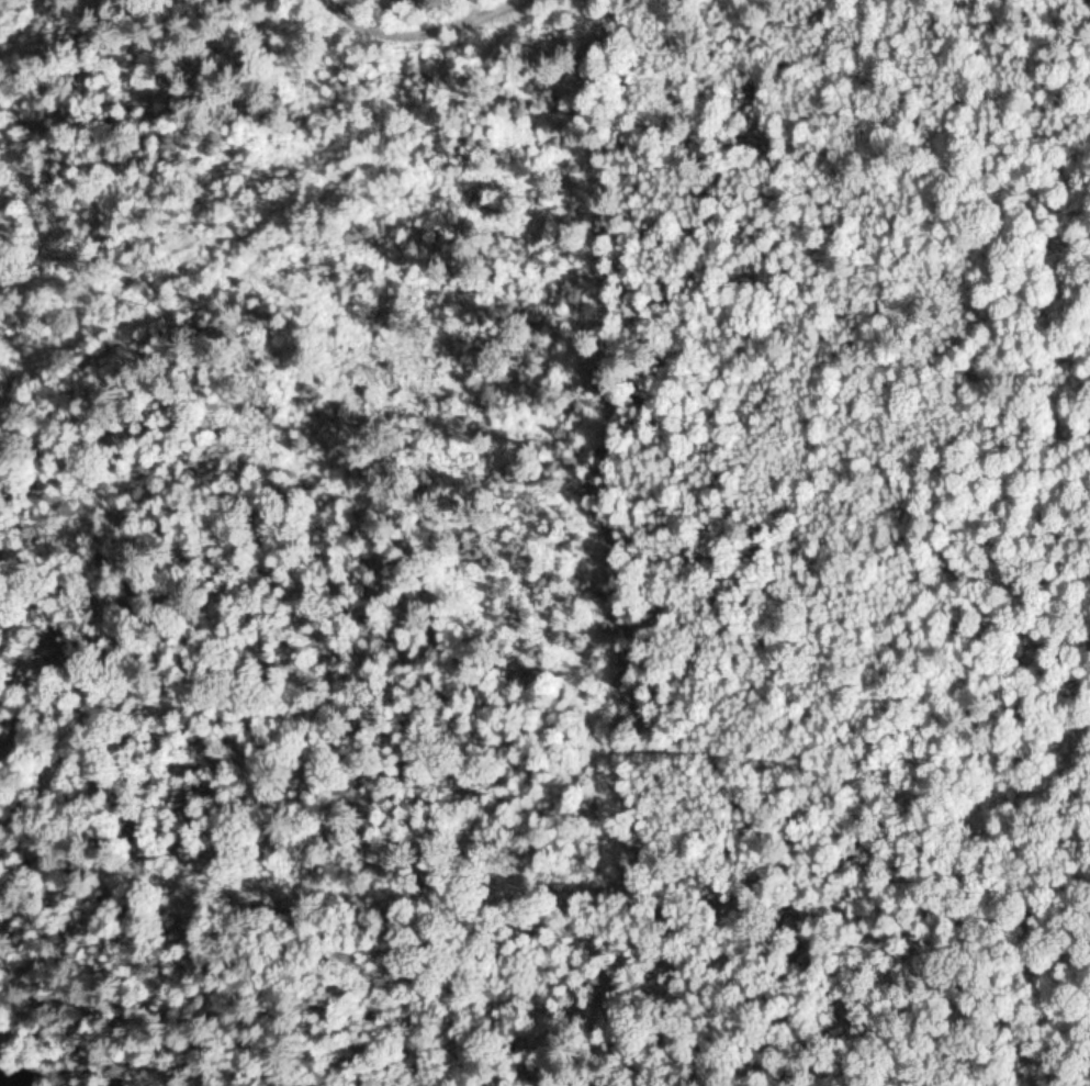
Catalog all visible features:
road: (435, 31)

